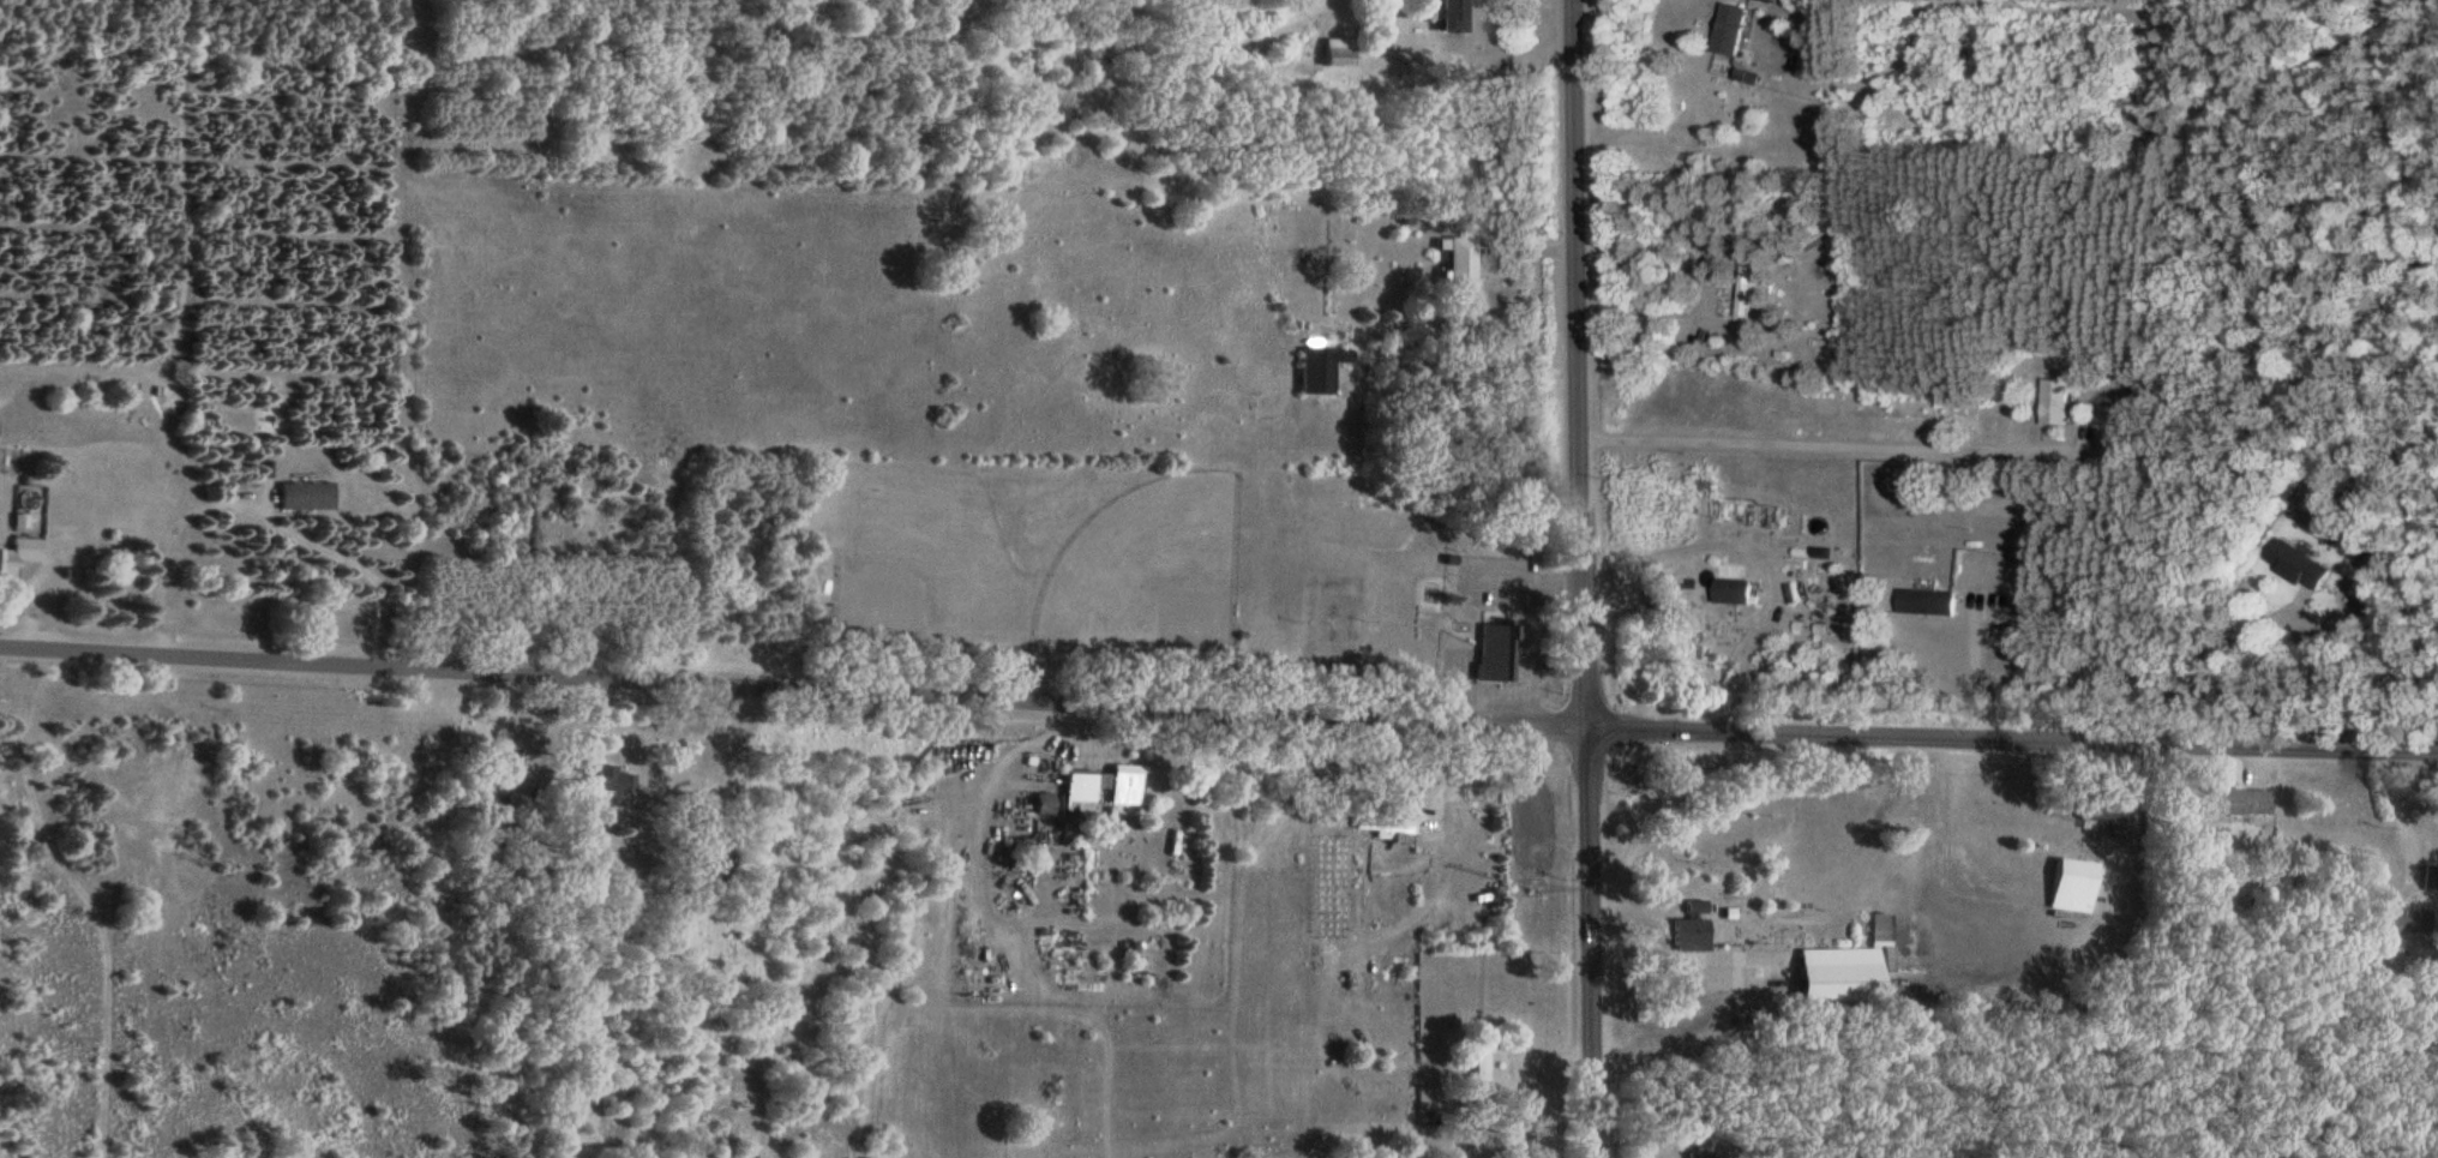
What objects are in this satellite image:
building: (1771, 1)
building: (1449, 16)
building: (1734, 31)
building: (1335, 53)
building: (1457, 266)
building: (1748, 287)
building: (1316, 371)
building: (2058, 403)
road: (1803, 430)
building: (306, 494)
road: (257, 497)
road: (1759, 551)
building: (19, 553)
building: (2302, 566)
road: (1573, 578)
building: (1736, 593)
building: (1930, 605)
building: (1494, 654)
road: (1980, 667)
road: (2212, 672)
road: (1218, 702)
building: (613, 779)
building: (1104, 787)
building: (2233, 803)
road: (2392, 805)
building: (2100, 817)
building: (1380, 827)
building: (2430, 881)
building: (2066, 884)
building: (1693, 908)
building: (2400, 922)
building: (1687, 931)
building: (1897, 931)
road: (1707, 976)
building: (1812, 976)
building: (1478, 1064)
building: (1695, 1154)

